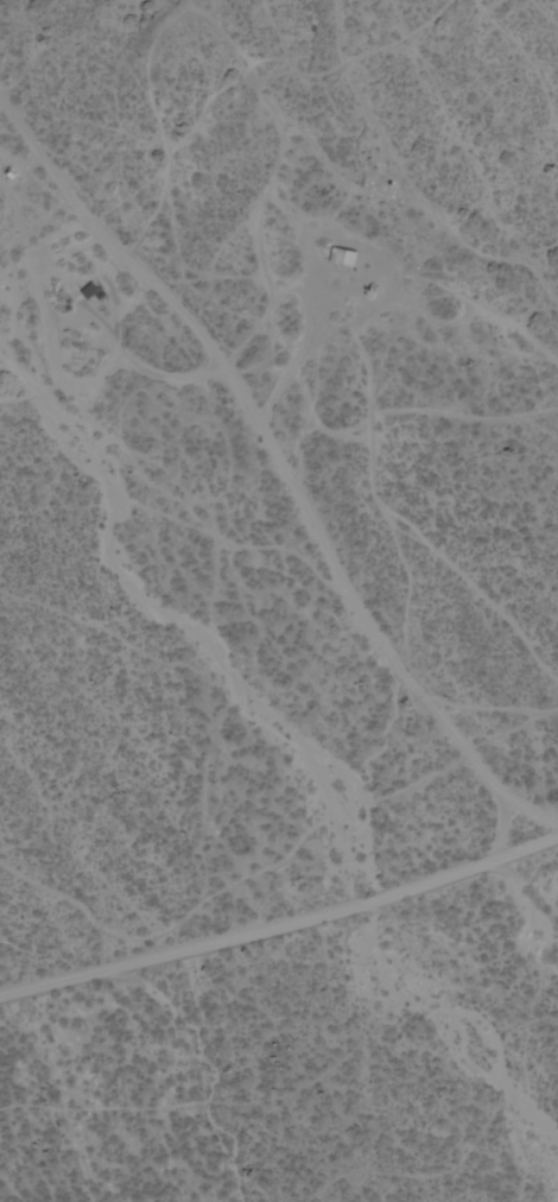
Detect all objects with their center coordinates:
road: (287, 476)
road: (281, 923)

